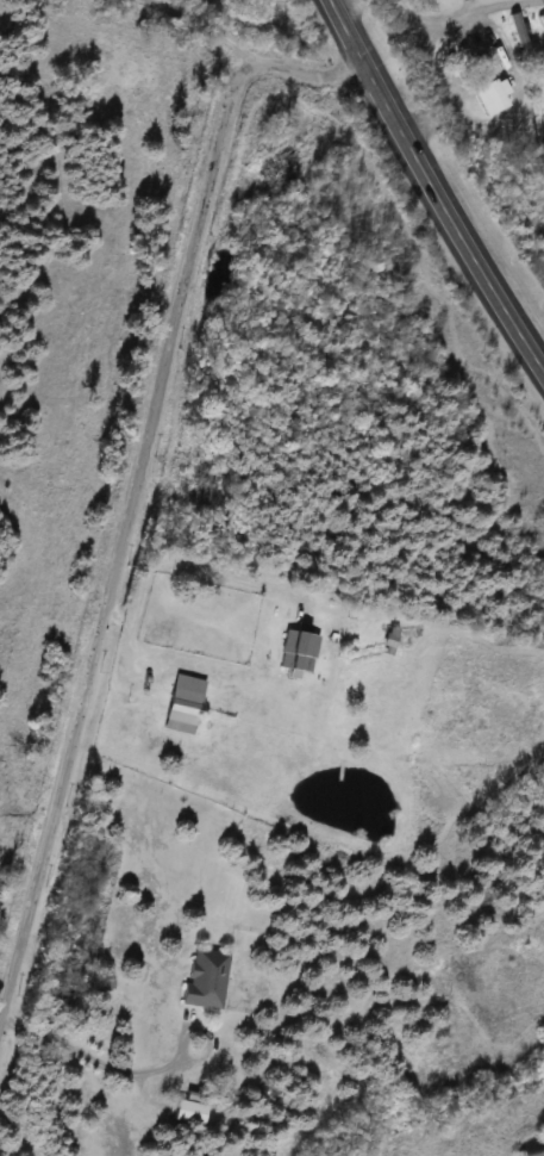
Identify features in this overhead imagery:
road: (204, 26)
road: (345, 31)
building: (490, 95)
road: (446, 215)
road: (131, 478)
road: (186, 560)
road: (133, 645)
building: (299, 650)
building: (182, 703)
building: (205, 978)
road: (104, 1064)
building: (188, 1112)

